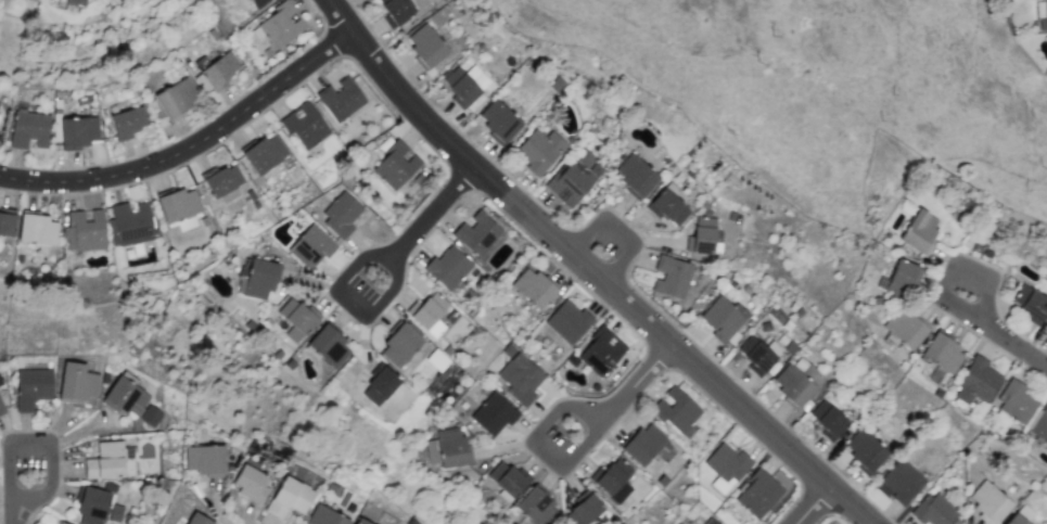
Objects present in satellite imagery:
building: (76, 2)
building: (256, 3)
building: (396, 10)
building: (1040, 14)
building: (281, 24)
building: (425, 46)
building: (219, 72)
building: (460, 86)
building: (176, 99)
building: (340, 100)
building: (498, 120)
building: (127, 123)
building: (305, 126)
building: (28, 130)
building: (77, 132)
road: (188, 146)
building: (538, 150)
building: (265, 154)
building: (395, 165)
building: (635, 175)
building: (575, 178)
building: (222, 181)
building: (669, 205)
building: (179, 209)
building: (340, 214)
road: (432, 215)
building: (7, 221)
building: (131, 222)
building: (36, 229)
road: (615, 229)
building: (85, 230)
building: (920, 231)
building: (475, 233)
building: (705, 237)
building: (310, 247)
road: (957, 261)
building: (447, 268)
road: (582, 273)
building: (672, 277)
building: (902, 278)
building: (256, 279)
building: (533, 287)
building: (1031, 303)
road: (349, 304)
building: (429, 311)
building: (296, 318)
building: (723, 319)
building: (567, 321)
building: (904, 328)
road: (1013, 344)
building: (328, 345)
building: (399, 345)
building: (600, 352)
building: (759, 354)
building: (942, 354)
building: (520, 379)
building: (795, 381)
building: (976, 381)
building: (77, 382)
road: (640, 384)
building: (380, 386)
building: (31, 387)
building: (125, 395)
building: (1016, 402)
building: (1, 409)
building: (676, 411)
building: (493, 414)
building: (150, 416)
building: (827, 419)
building: (1040, 425)
road: (42, 440)
building: (643, 444)
road: (537, 446)
building: (451, 448)
building: (865, 449)
building: (105, 460)
building: (203, 460)
building: (726, 467)
building: (507, 481)
building: (614, 481)
building: (901, 481)
building: (250, 483)
building: (757, 494)
building: (289, 497)
building: (988, 502)
building: (91, 506)
building: (537, 507)
road: (810, 507)
building: (583, 509)
building: (933, 510)
building: (1020, 515)
building: (324, 516)
road: (11, 519)
building: (197, 519)
building: (361, 521)
building: (710, 522)
building: (59, 523)

